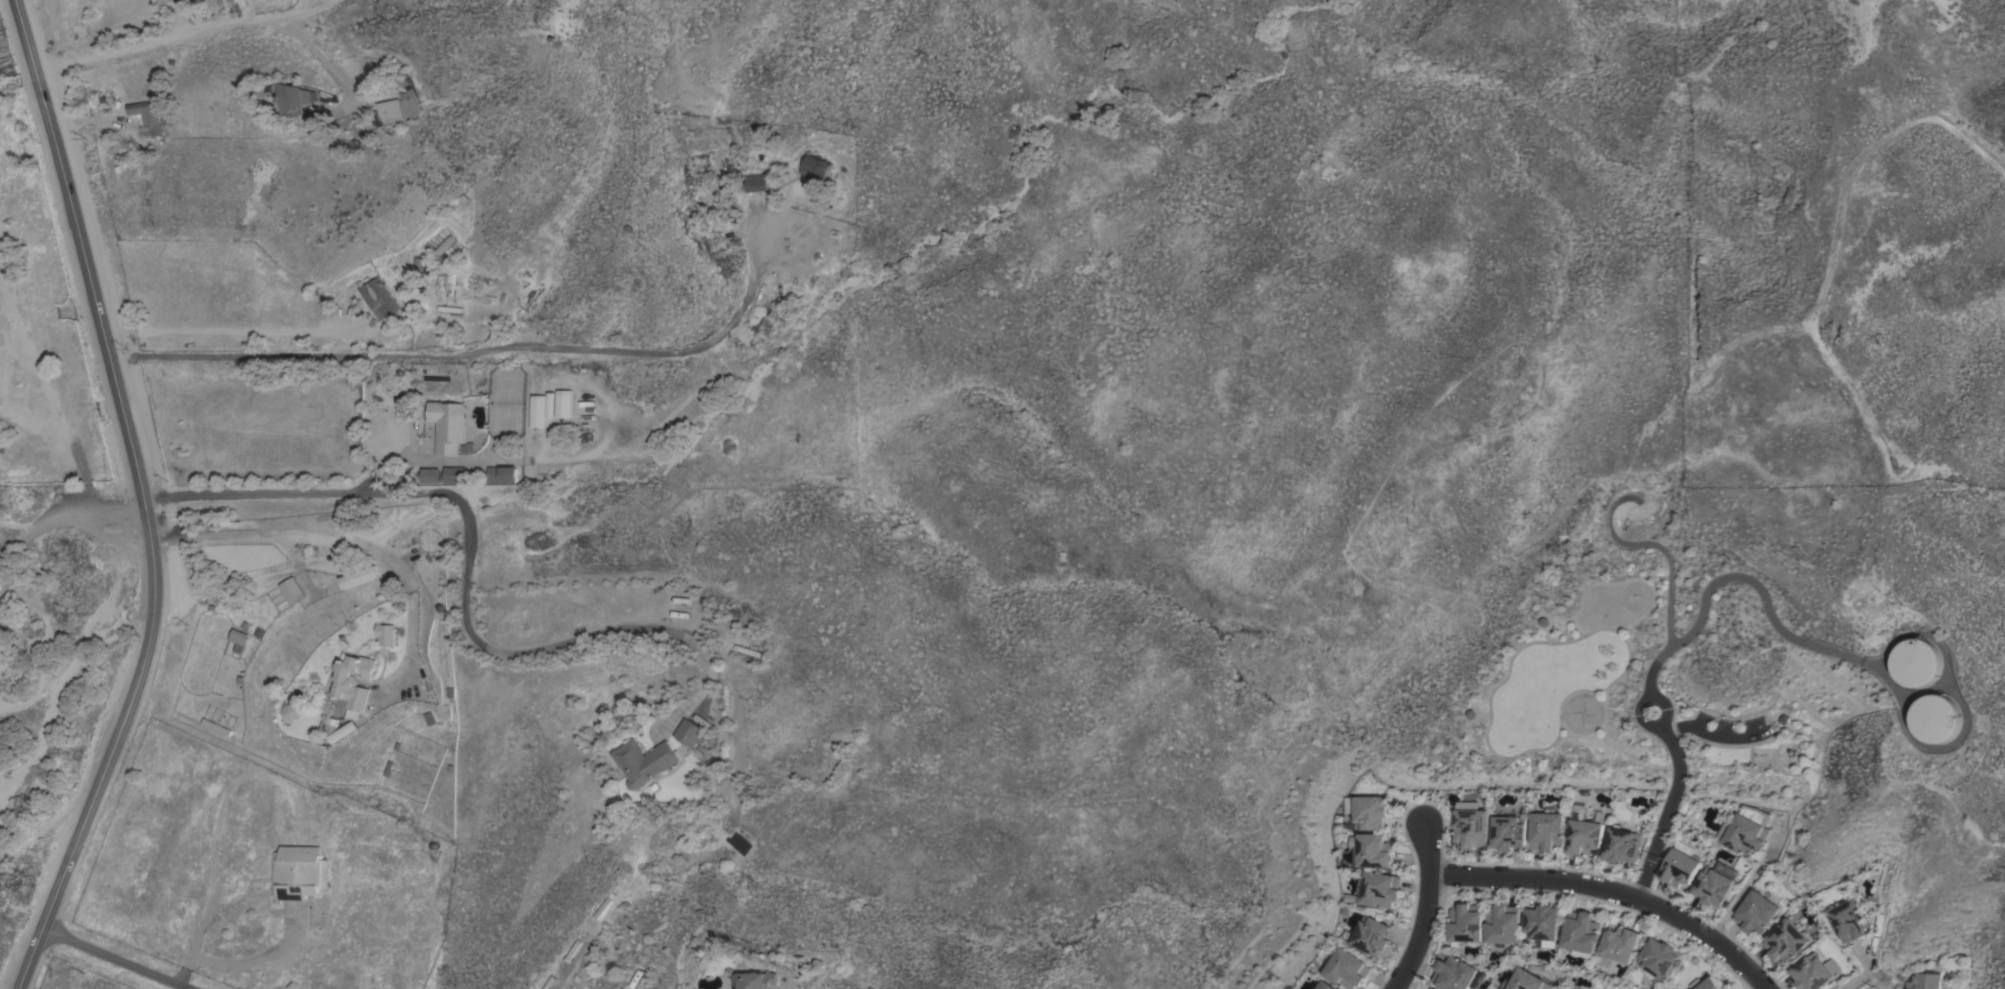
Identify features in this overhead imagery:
building: (194, 3)
road: (212, 29)
building: (296, 96)
building: (18, 107)
building: (387, 109)
building: (142, 112)
building: (148, 131)
building: (814, 168)
building: (753, 182)
building: (440, 244)
building: (449, 284)
building: (378, 298)
road: (231, 331)
road: (484, 350)
building: (562, 403)
building: (550, 405)
building: (538, 411)
building: (447, 426)
road: (415, 458)
building: (454, 474)
building: (502, 474)
building: (430, 475)
road: (140, 499)
road: (68, 519)
road: (246, 537)
building: (358, 577)
road: (1738, 580)
building: (291, 590)
road: (414, 593)
building: (385, 633)
building: (238, 639)
road: (511, 651)
building: (1916, 662)
storage tank: (1916, 662)
building: (351, 692)
park: (1639, 694)
road: (1641, 700)
building: (1780, 719)
building: (1935, 719)
storage tank: (1935, 719)
building: (216, 727)
building: (688, 732)
building: (643, 761)
building: (1367, 811)
road: (1664, 813)
building: (1470, 827)
building: (1743, 830)
building: (1545, 831)
building: (1507, 832)
building: (1583, 836)
building: (1621, 845)
building: (1370, 850)
building: (1679, 864)
building: (300, 872)
road: (204, 882)
road: (1744, 885)
building: (1712, 886)
building: (1377, 889)
road: (1608, 895)
road: (1428, 906)
building: (1755, 911)
building: (1848, 919)
building: (1542, 922)
building: (1466, 923)
building: (1503, 924)
building: (1581, 934)
building: (1371, 935)
building: (1785, 941)
building: (1618, 945)
building: (1658, 957)
road: (116, 958)
road: (232, 962)
building: (1347, 968)
building: (1813, 972)
building: (1455, 973)
road: (1862, 974)
building: (754, 980)
building: (1526, 981)
building: (1924, 981)
building: (1708, 984)
building: (1327, 985)
building: (1433, 988)
building: (1578, 988)
building: (1673, 988)

